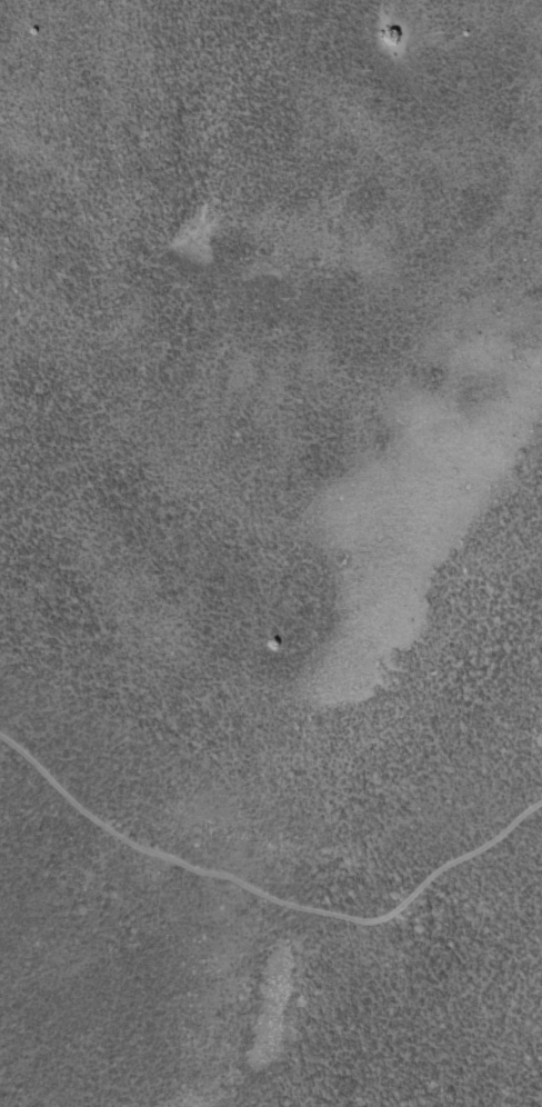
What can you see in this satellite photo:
road: (268, 899)

